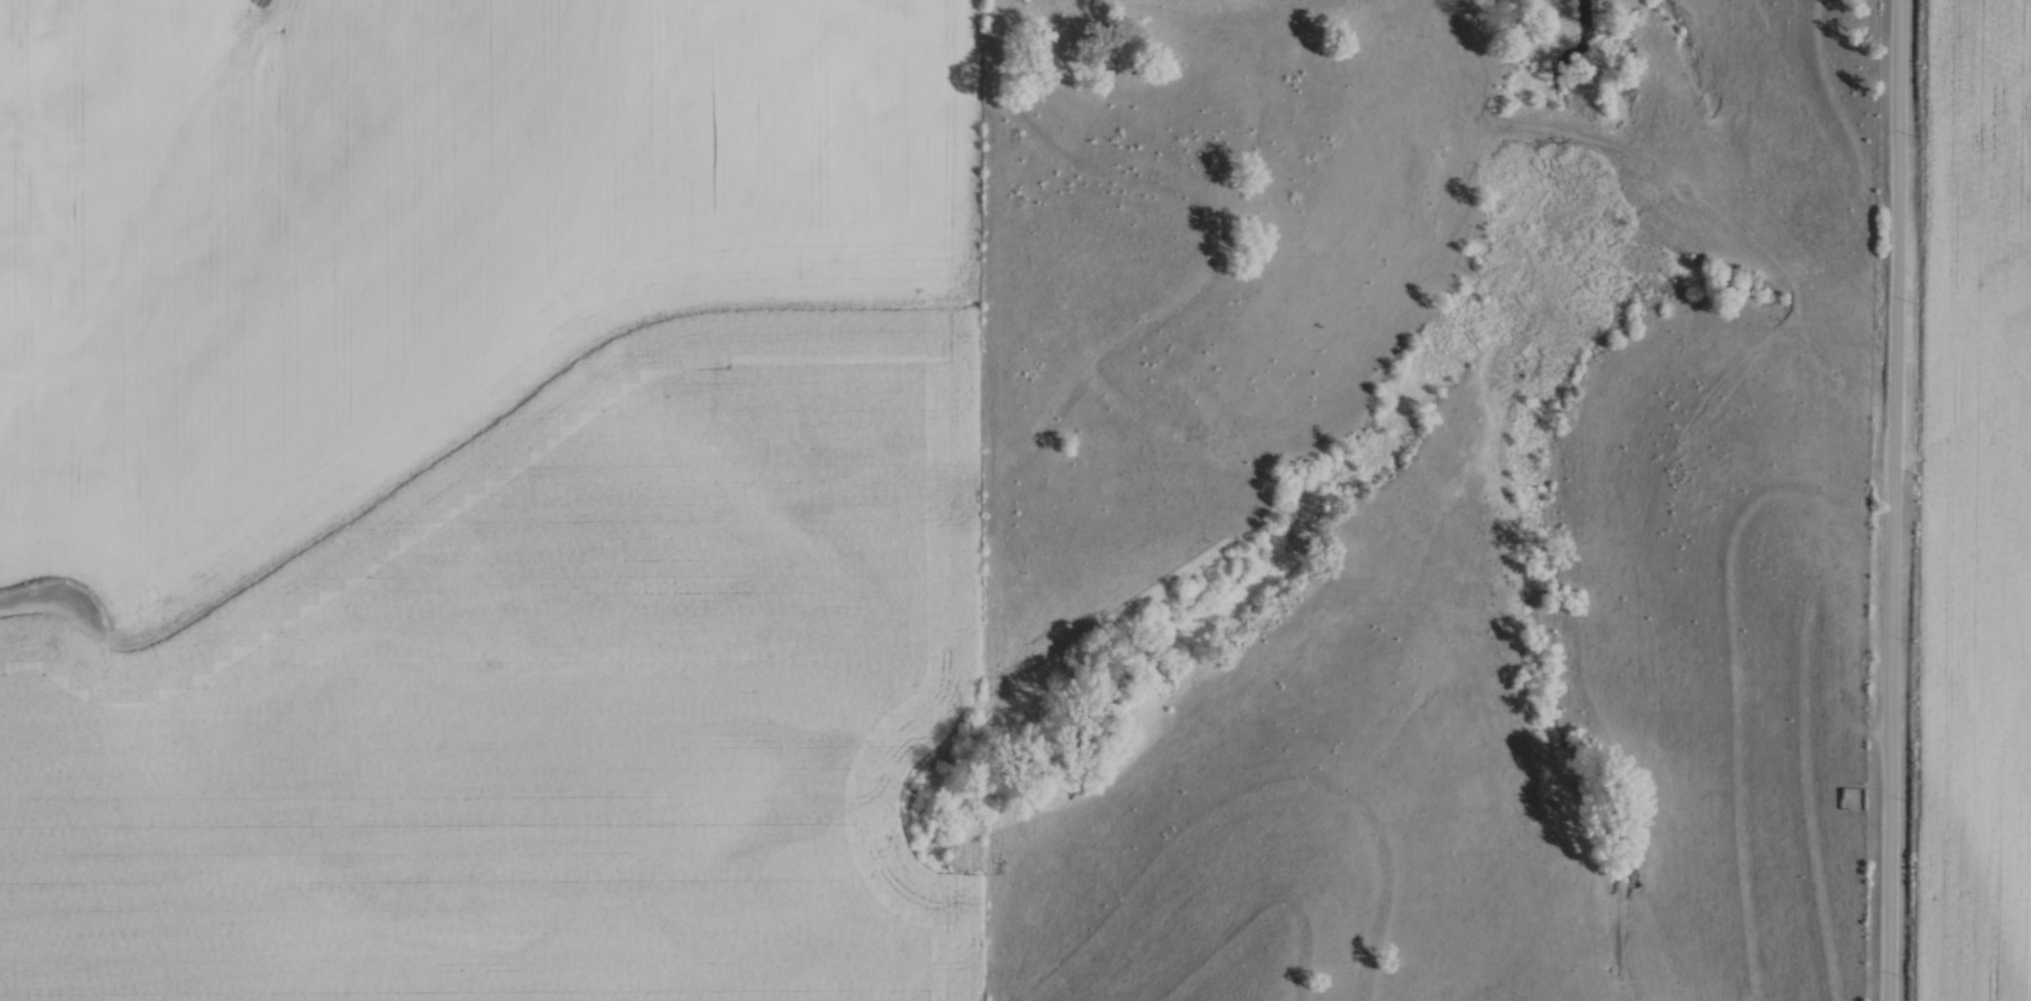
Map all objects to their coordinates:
road: (1897, 500)

